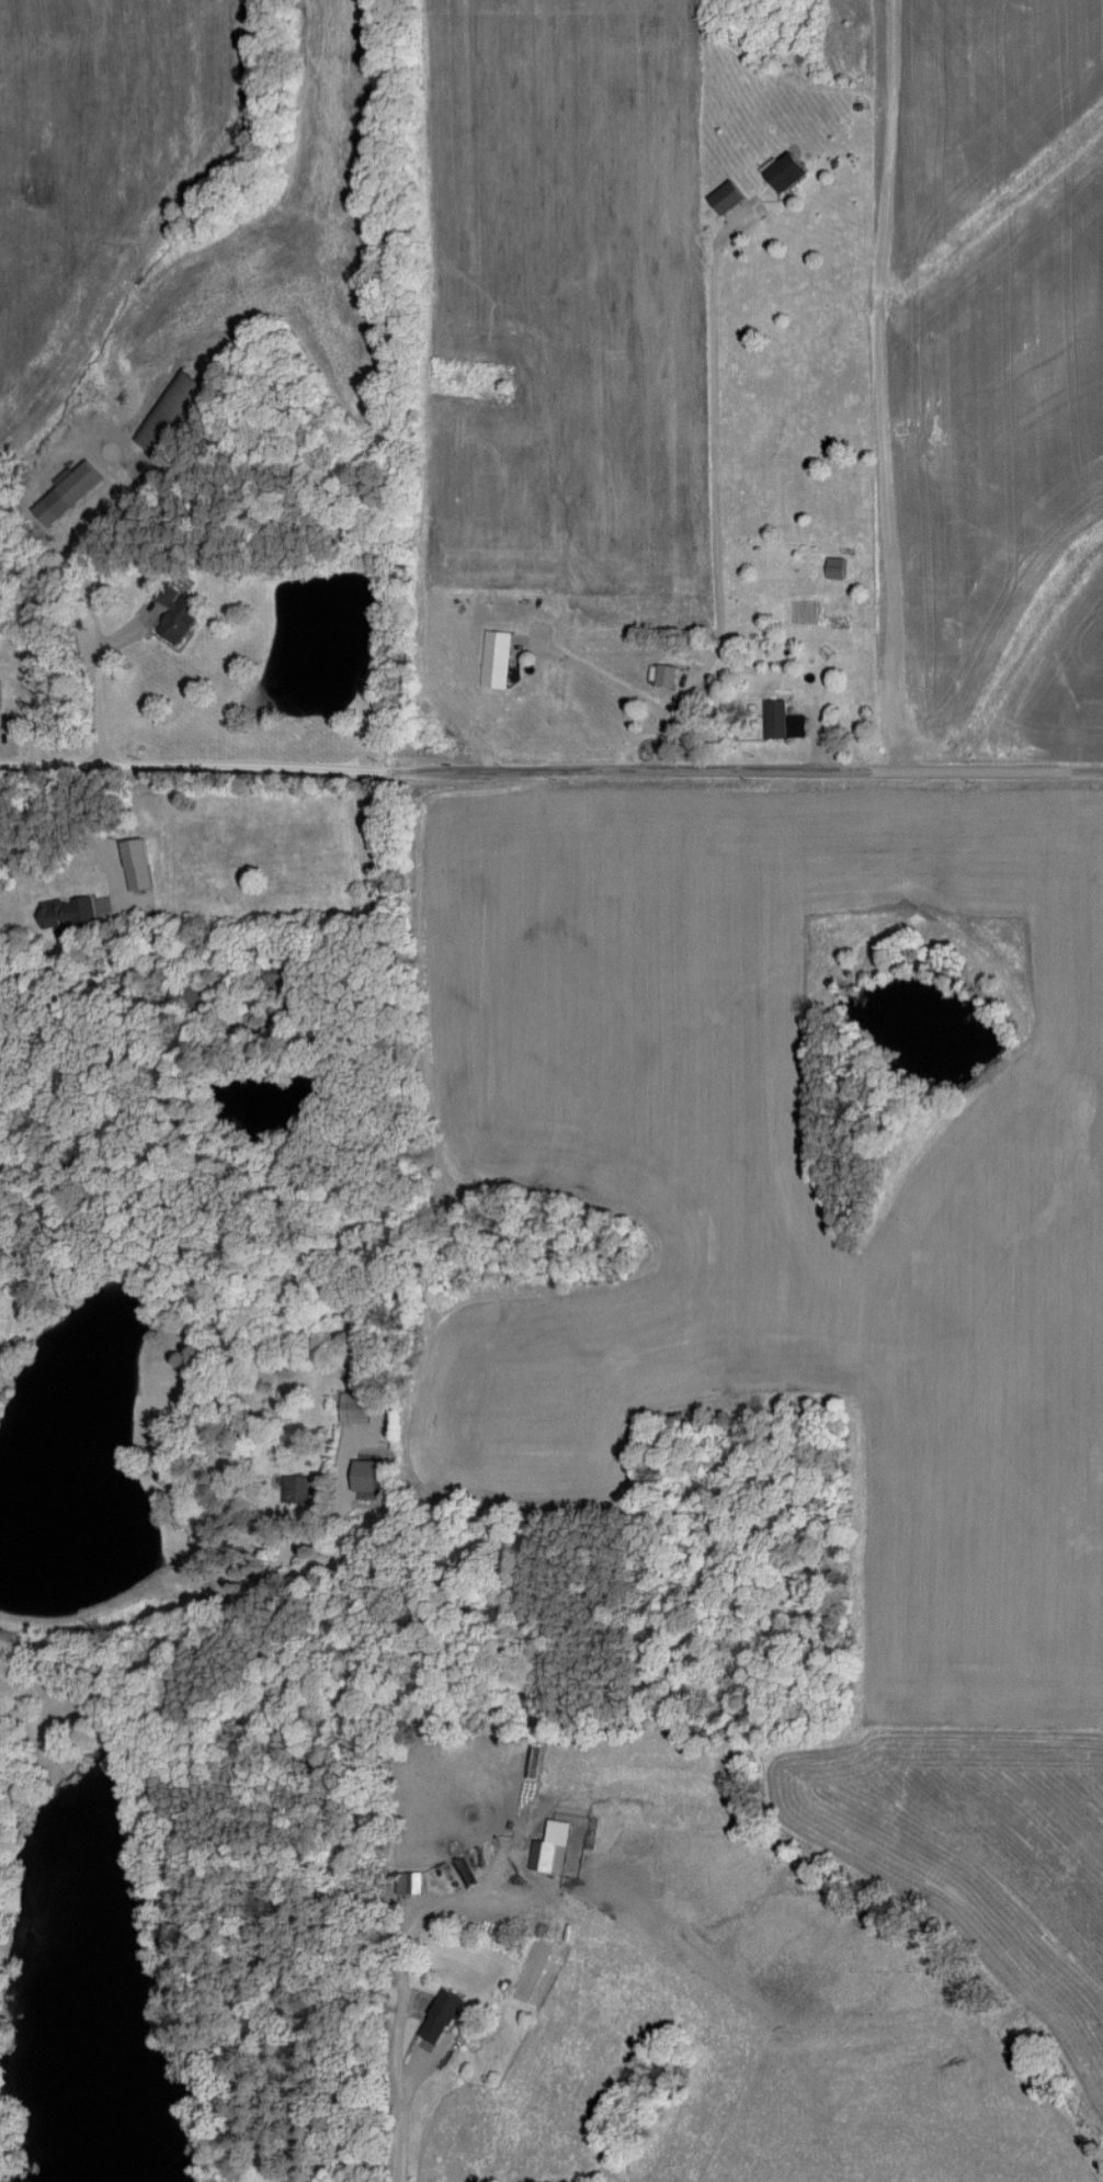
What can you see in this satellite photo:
building: (786, 170)
building: (727, 196)
building: (68, 493)
road: (713, 502)
building: (837, 568)
building: (178, 615)
road: (98, 657)
building: (496, 658)
building: (666, 676)
road: (605, 681)
building: (783, 721)
road: (550, 768)
building: (139, 877)
building: (66, 913)
building: (280, 982)
building: (353, 1407)
building: (296, 1489)
building: (553, 1846)
building: (409, 1881)
road: (400, 1980)
building: (442, 2015)

